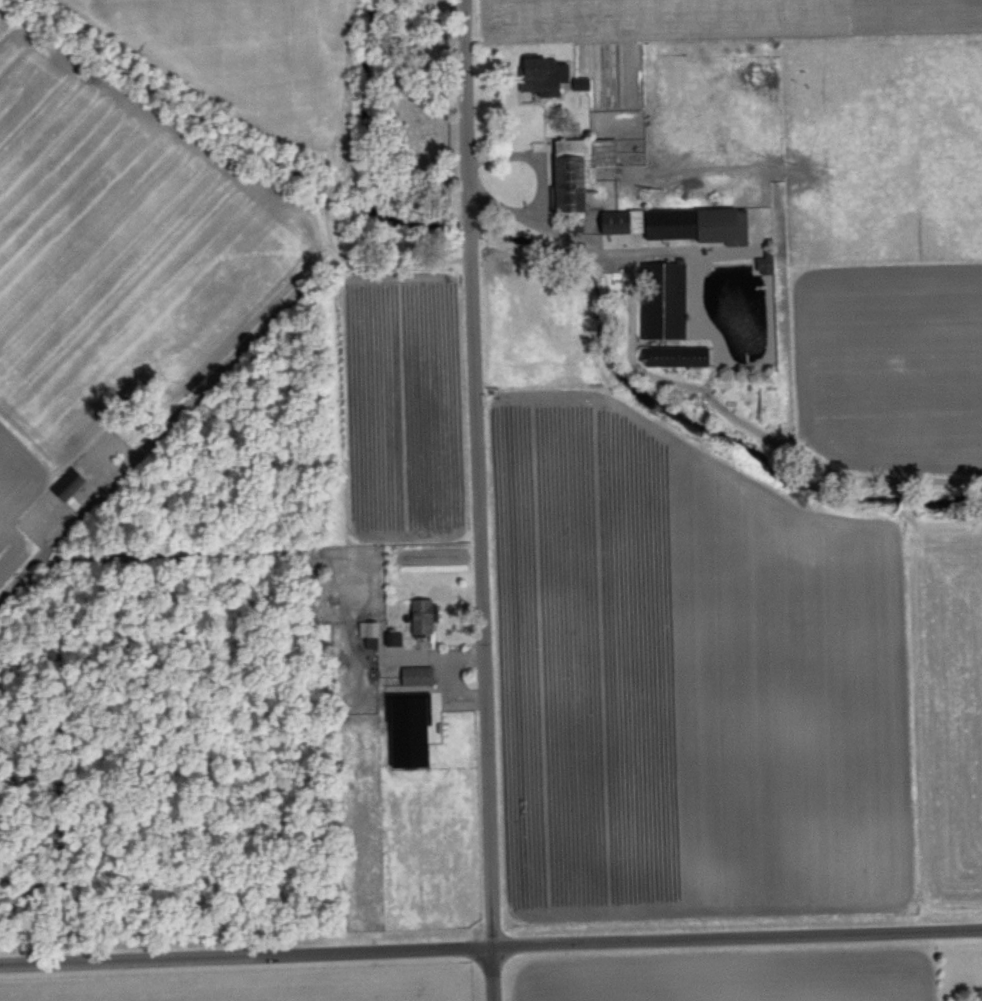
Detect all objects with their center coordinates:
building: (540, 74)
building: (579, 82)
building: (575, 168)
road: (541, 185)
building: (677, 222)
road: (631, 254)
building: (762, 262)
road: (699, 295)
building: (662, 299)
building: (674, 355)
building: (65, 484)
road: (477, 500)
building: (419, 615)
building: (367, 632)
building: (391, 638)
building: (414, 674)
building: (405, 731)
road: (490, 946)

